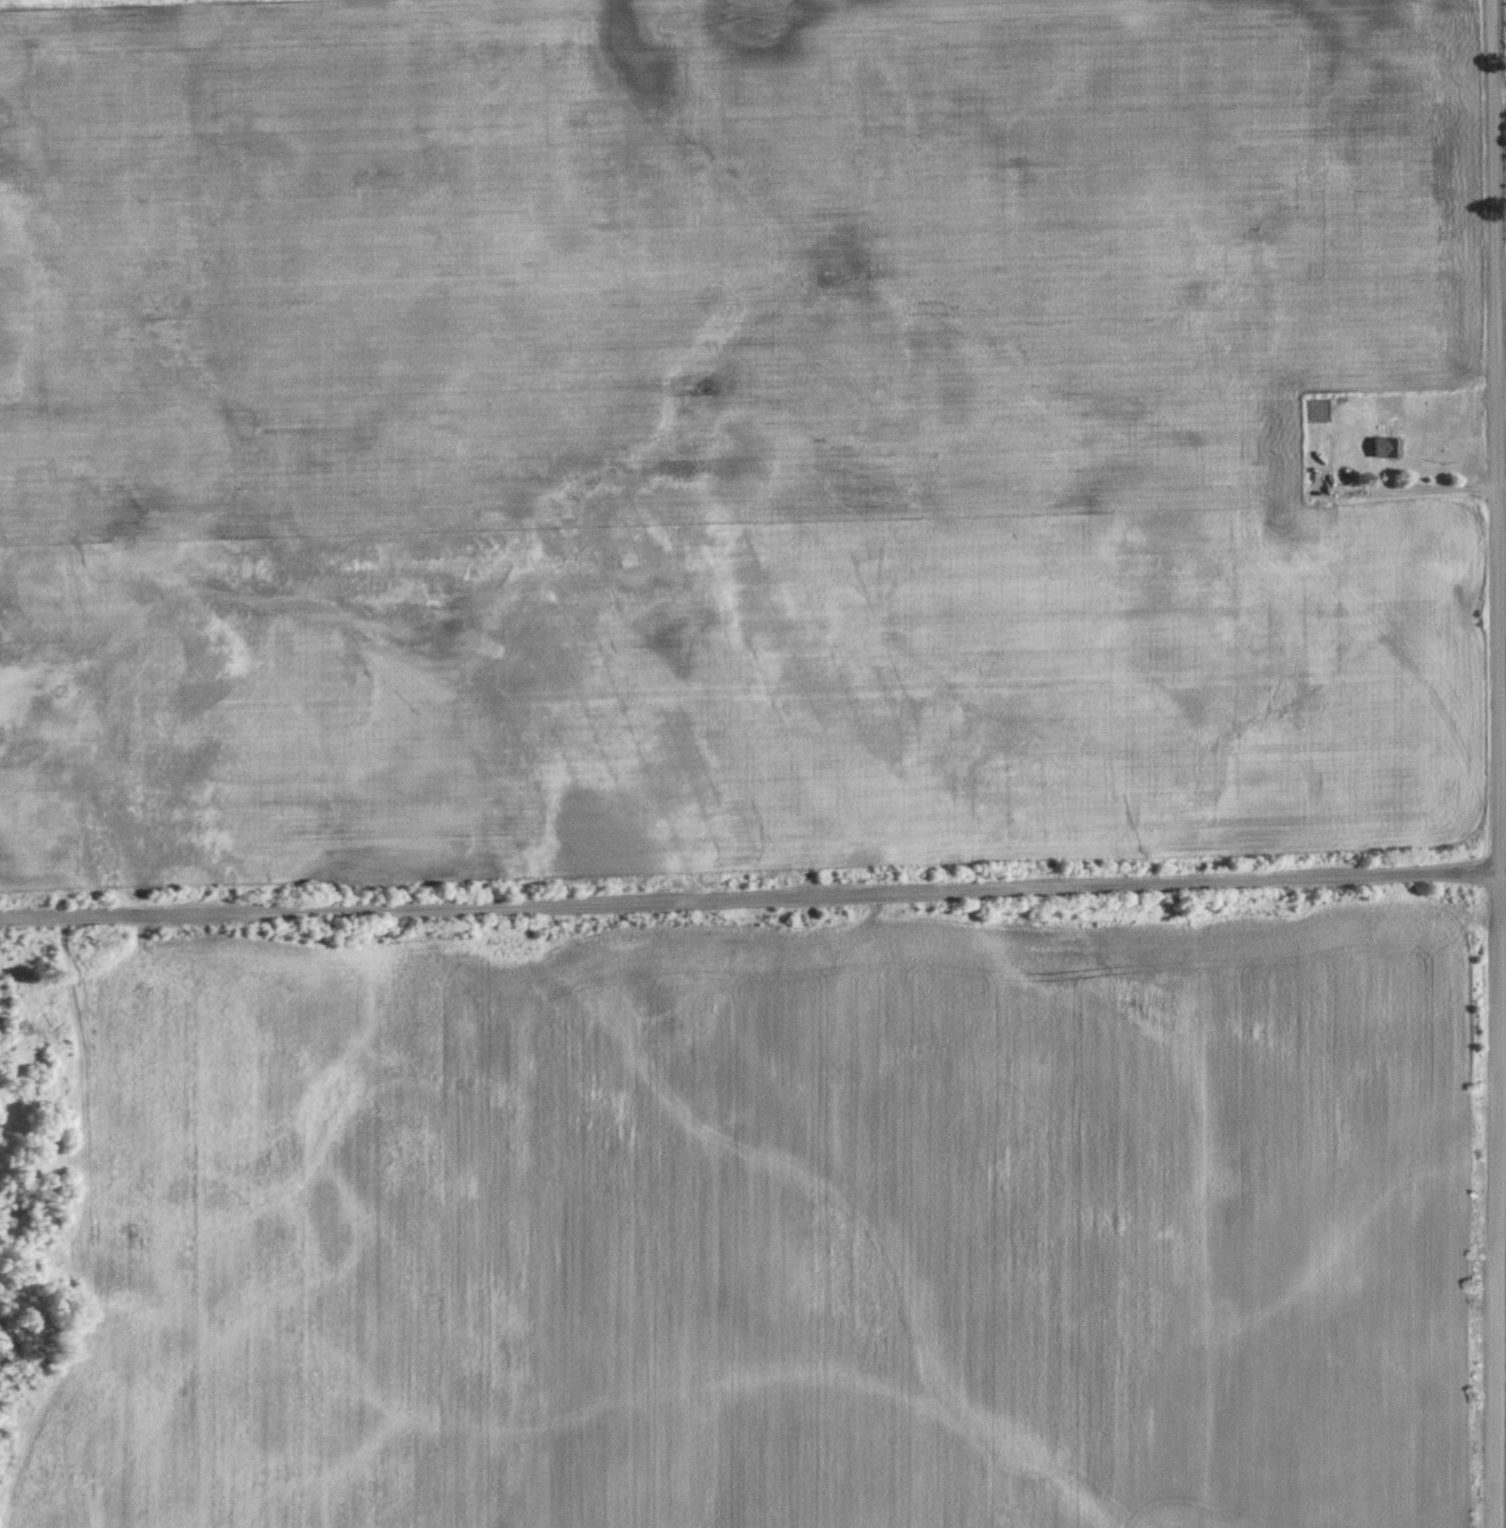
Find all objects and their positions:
building: (1388, 447)
road: (1409, 488)
building: (1305, 519)
road: (1500, 763)
road: (753, 893)

